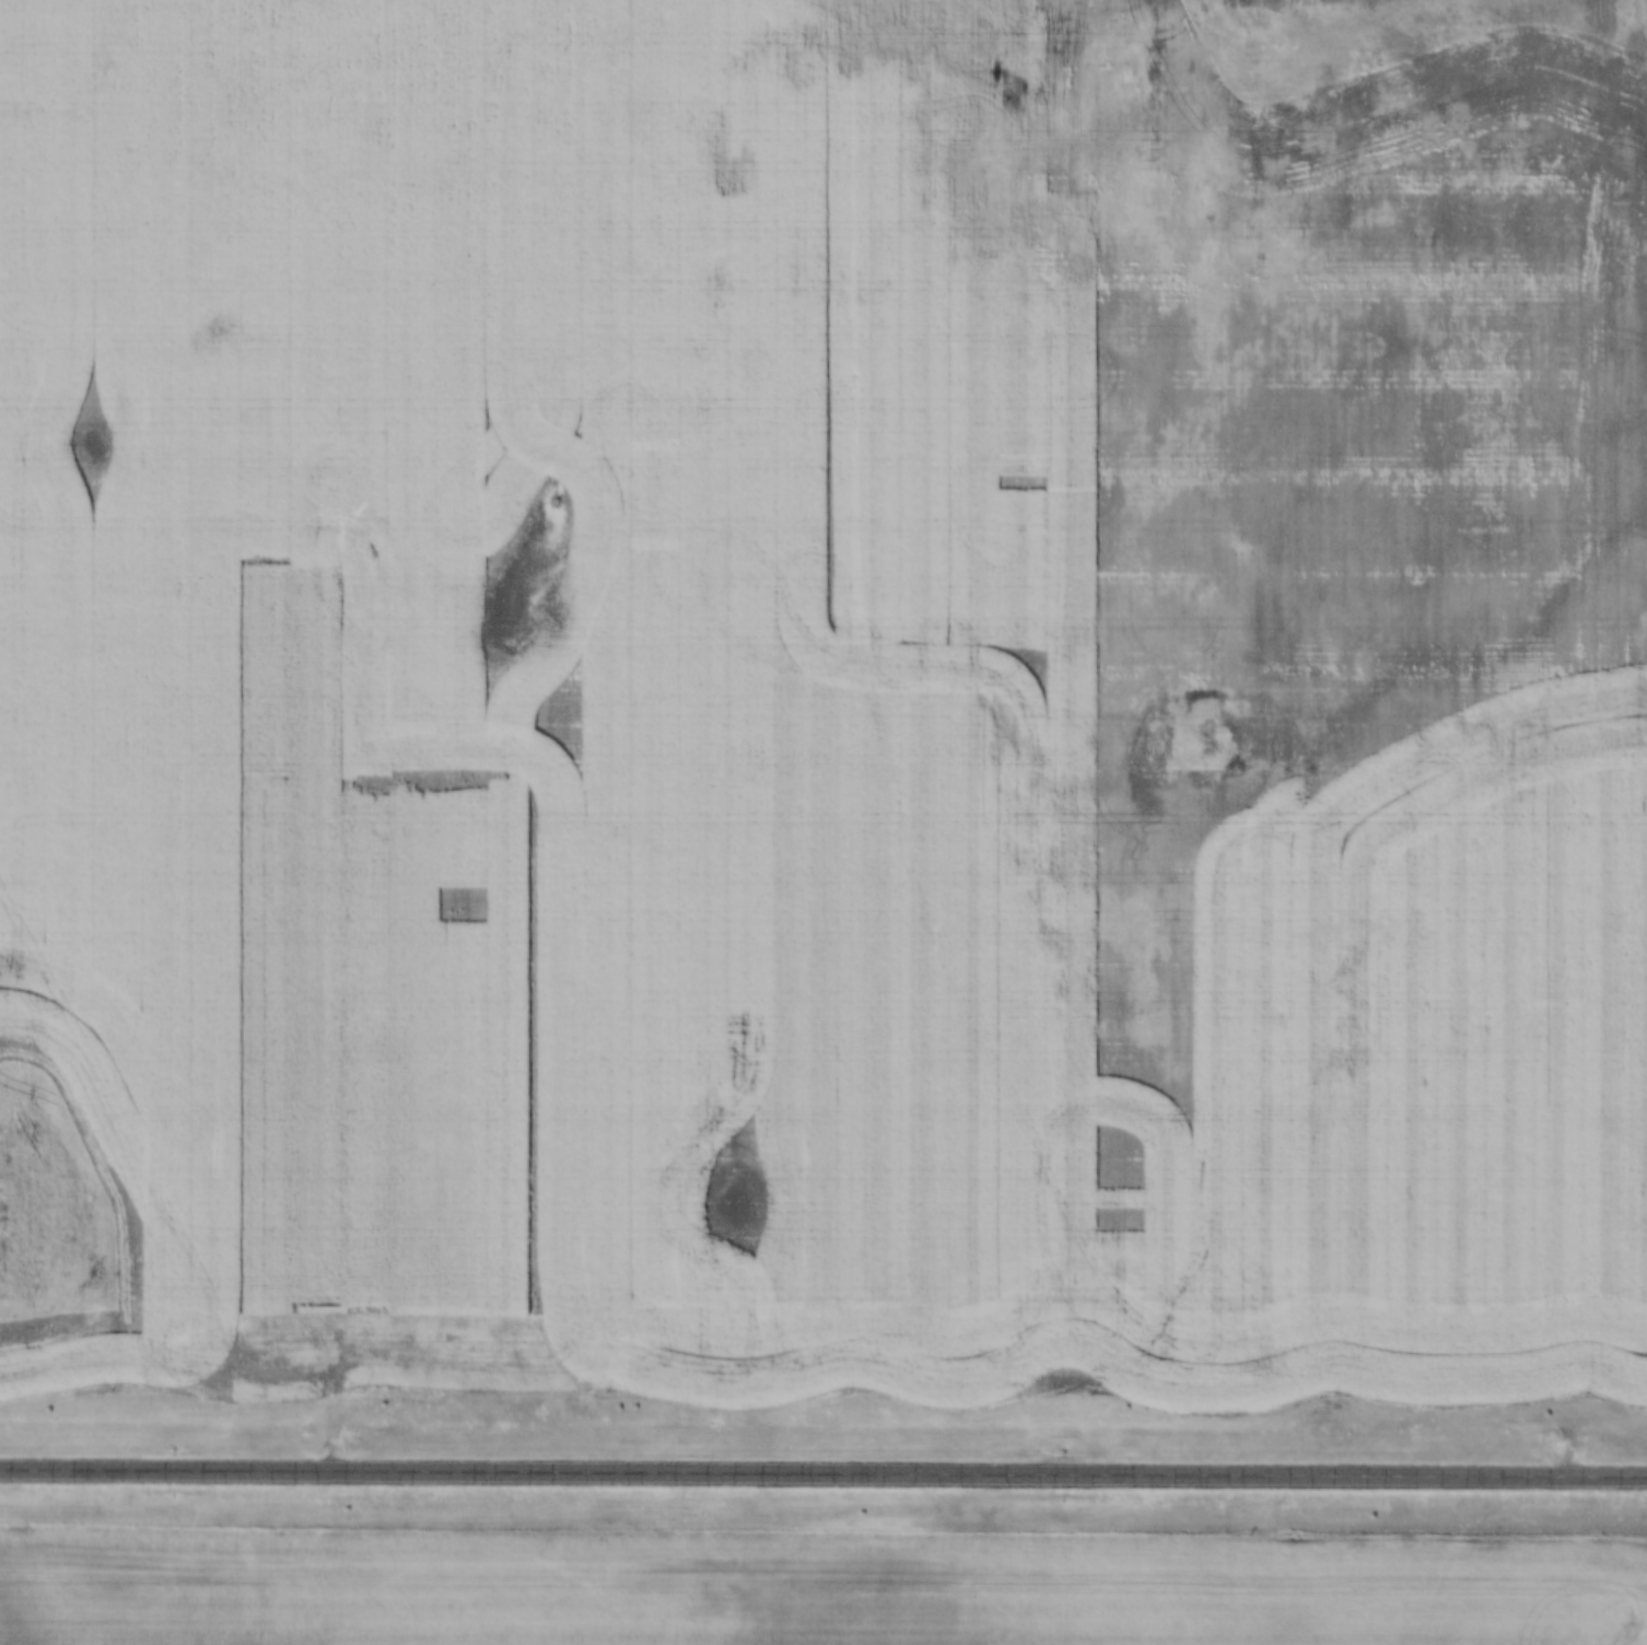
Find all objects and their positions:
road: (822, 1472)

